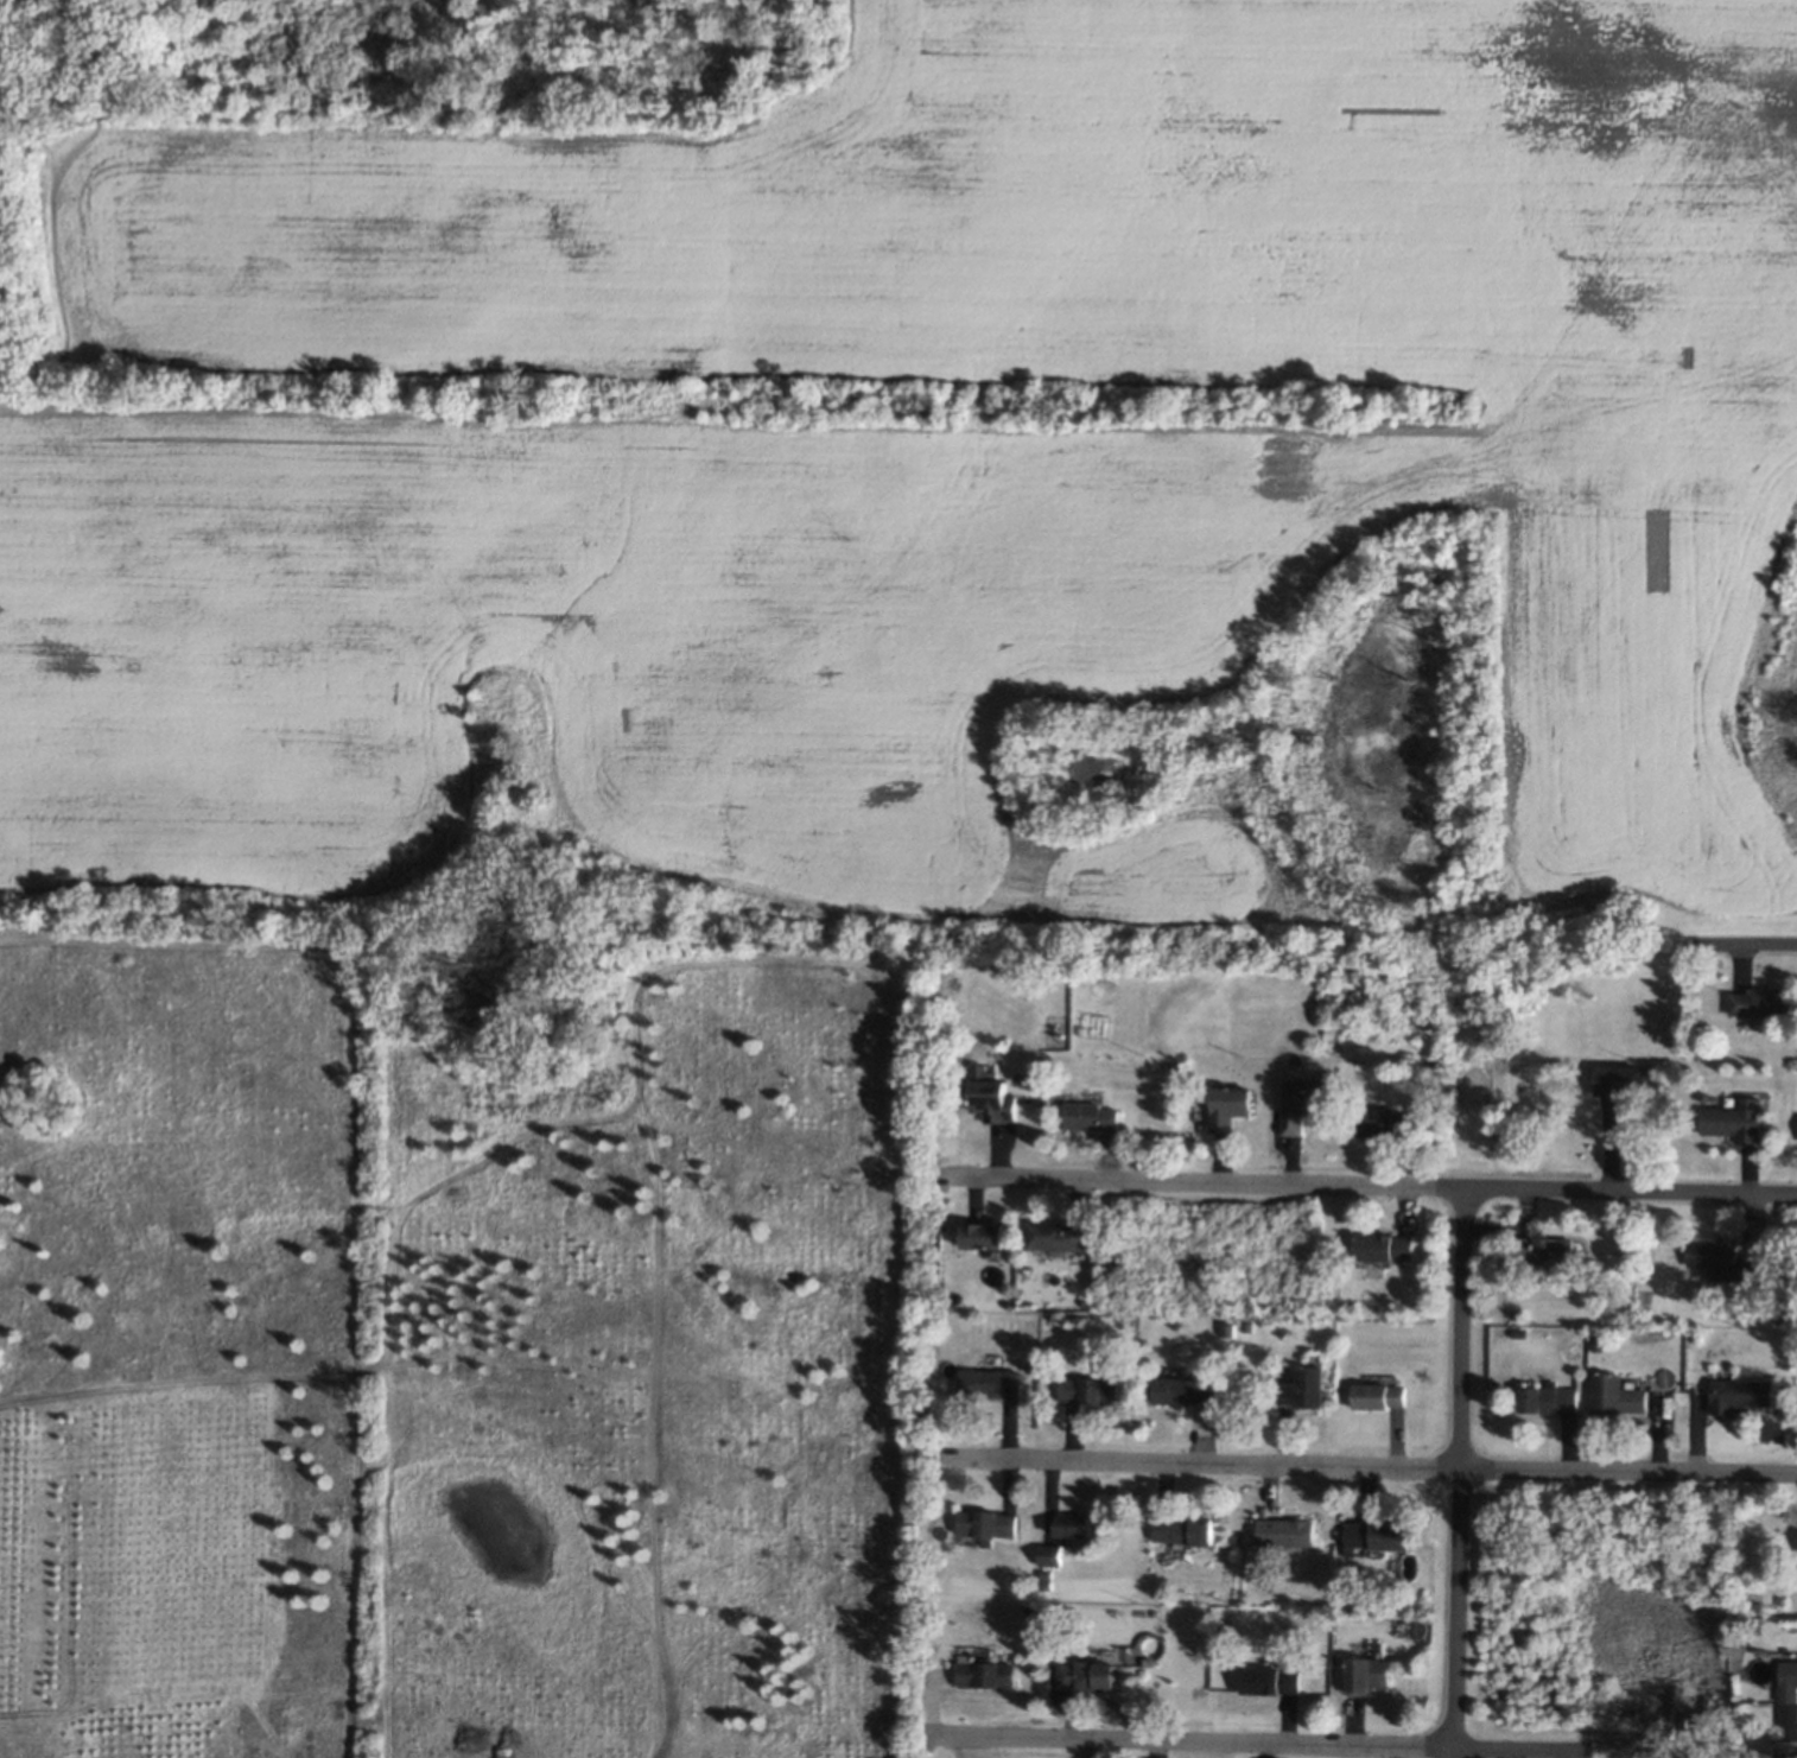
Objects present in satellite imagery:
crop: (929, 457)
road: (1746, 945)
building: (1754, 1001)
building: (1612, 1079)
building: (1306, 1102)
building: (992, 1103)
building: (1228, 1105)
building: (1088, 1118)
building: (1383, 1123)
building: (1736, 1124)
road: (1202, 1182)
road: (1628, 1191)
building: (1053, 1235)
building: (982, 1238)
building: (1384, 1248)
building: (1539, 1252)
building: (1710, 1257)
crop: (447, 1357)
building: (988, 1382)
building: (1090, 1389)
building: (1187, 1390)
building: (1301, 1390)
building: (1377, 1395)
building: (1741, 1396)
building: (1621, 1398)
building: (1550, 1400)
road: (1372, 1466)
road: (1460, 1473)
building: (984, 1525)
building: (1073, 1529)
building: (1181, 1530)
building: (1284, 1532)
building: (1376, 1536)
building: (1052, 1554)
building: (1082, 1674)
building: (1363, 1675)
building: (983, 1676)
building: (1784, 1677)
building: (1268, 1680)
road: (1258, 1740)
road: (1783, 1752)

